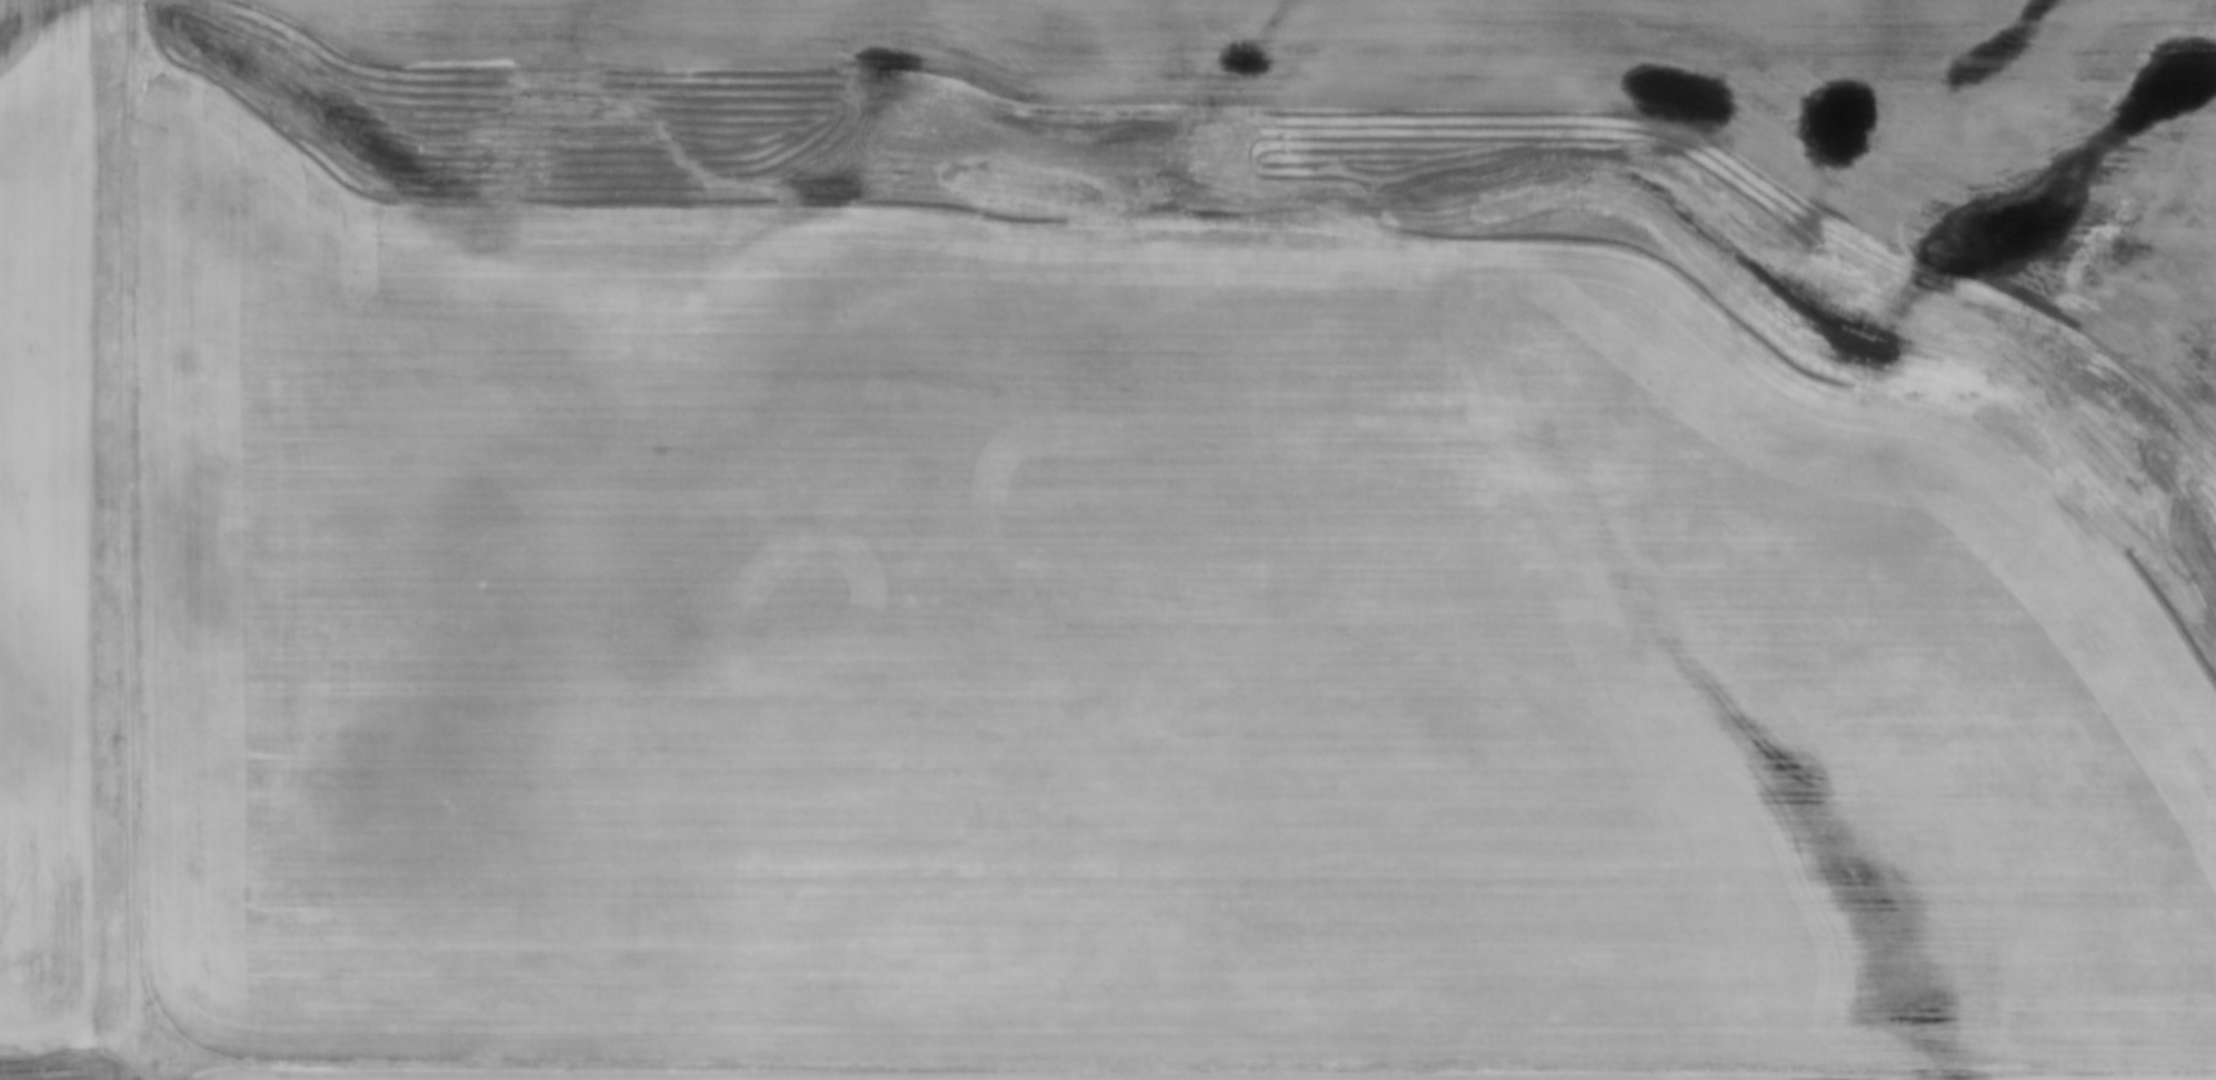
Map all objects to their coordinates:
road: (119, 540)
road: (683, 1073)

